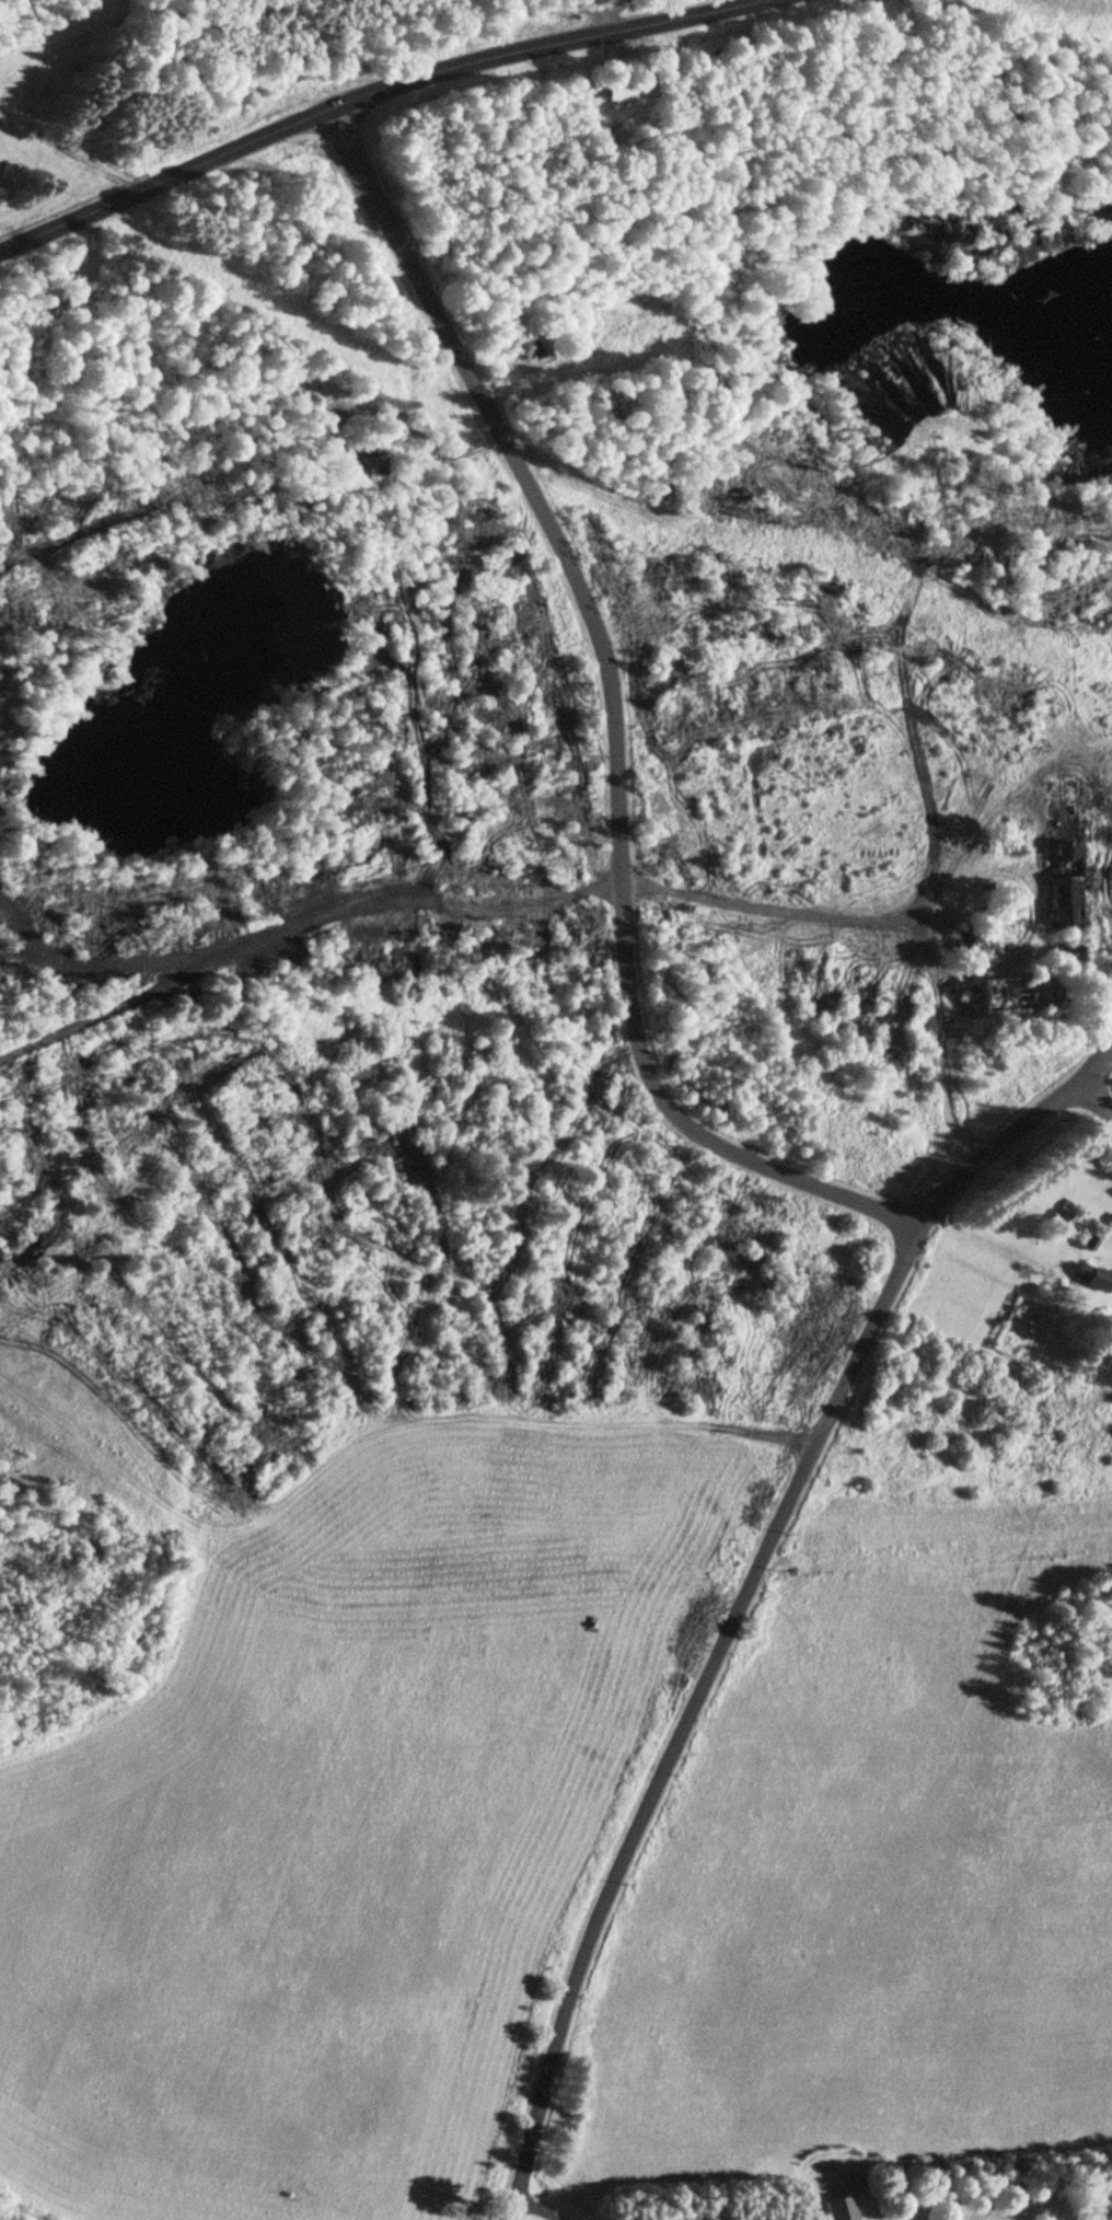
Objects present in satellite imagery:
building: (601, 95)
road: (355, 99)
building: (534, 349)
road: (611, 719)
building: (1062, 854)
building: (1015, 1001)
road: (1099, 1069)
road: (1099, 1097)
building: (1091, 1280)
road: (750, 1585)
building: (838, 2209)

